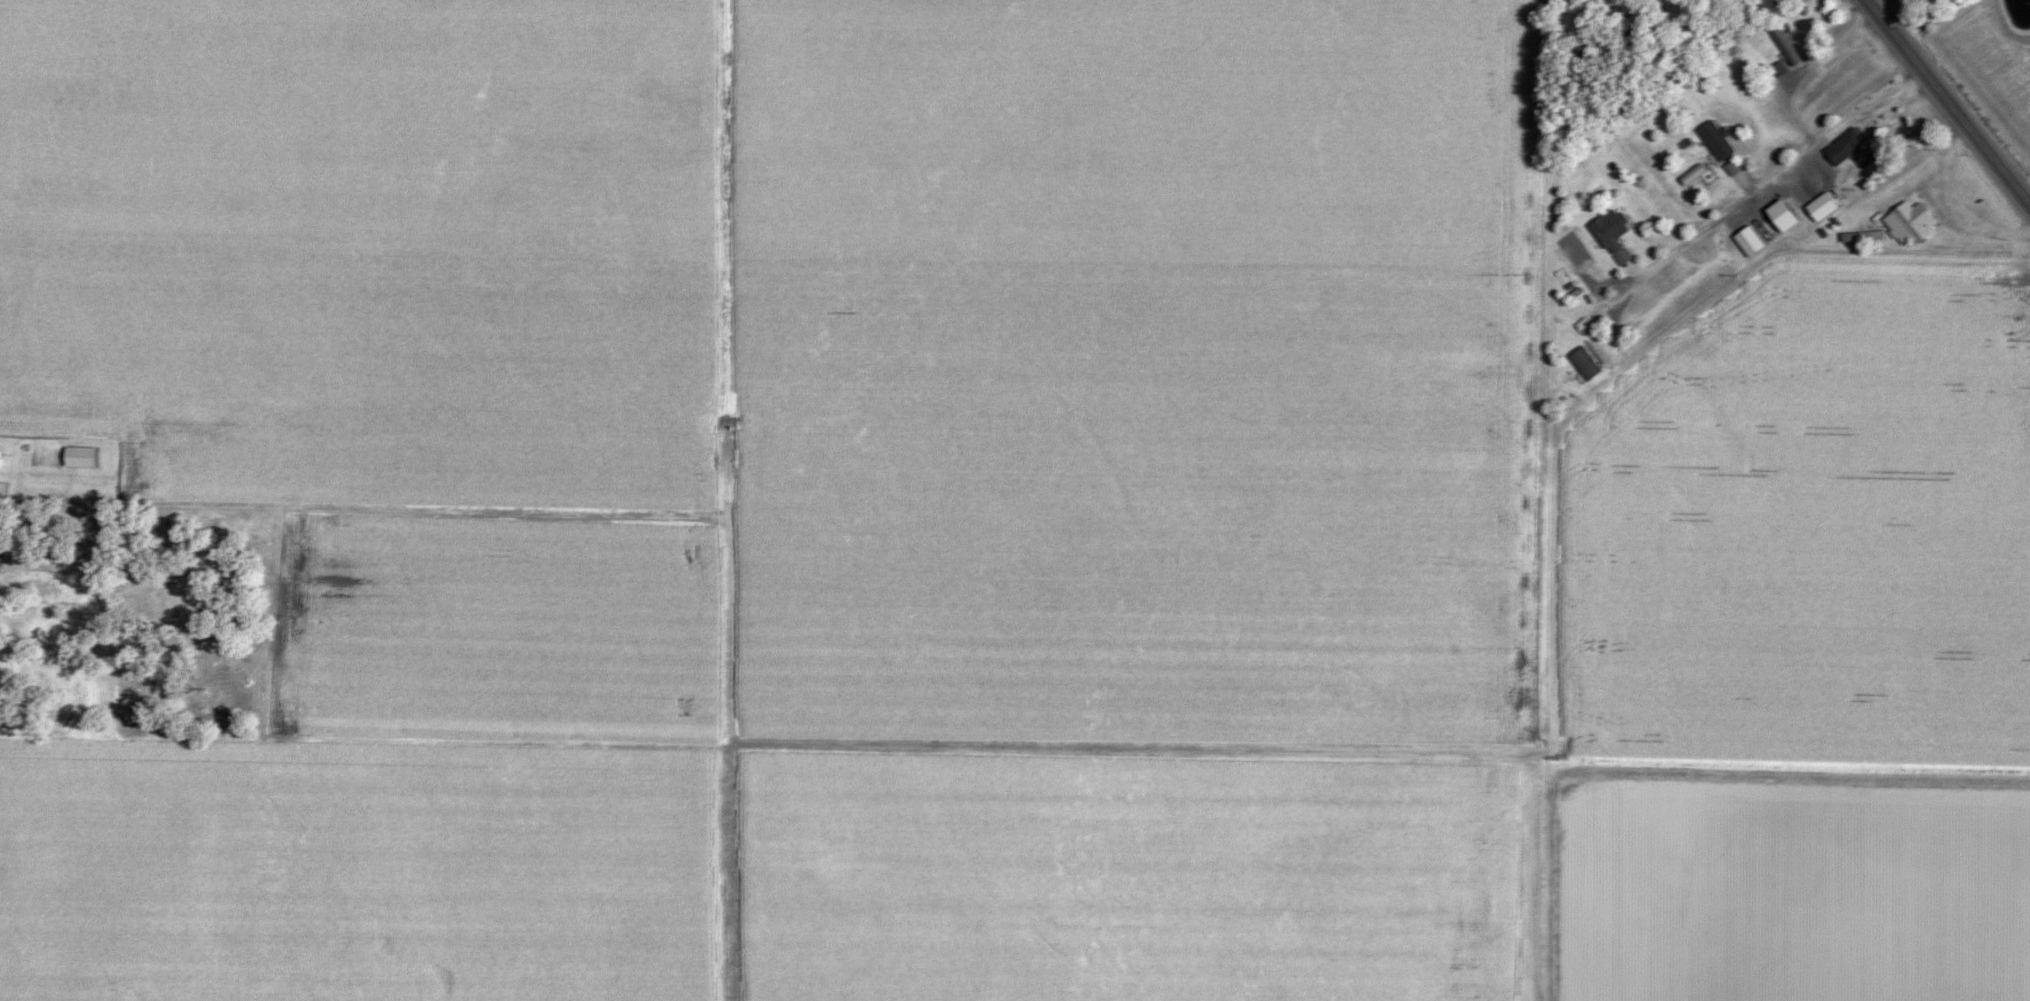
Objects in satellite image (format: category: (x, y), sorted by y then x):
road: (1949, 101)
building: (1716, 140)
building: (1851, 148)
road: (1782, 169)
road: (2026, 189)
road: (1955, 202)
building: (1777, 219)
building: (1908, 222)
building: (1603, 232)
building: (1621, 257)
building: (1584, 362)
building: (78, 456)
building: (2, 489)

